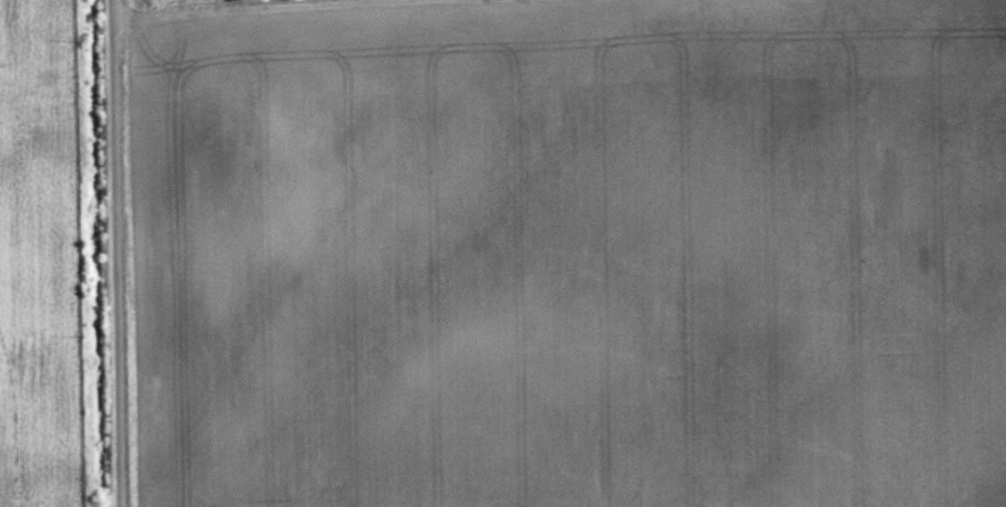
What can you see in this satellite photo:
road: (117, 253)

